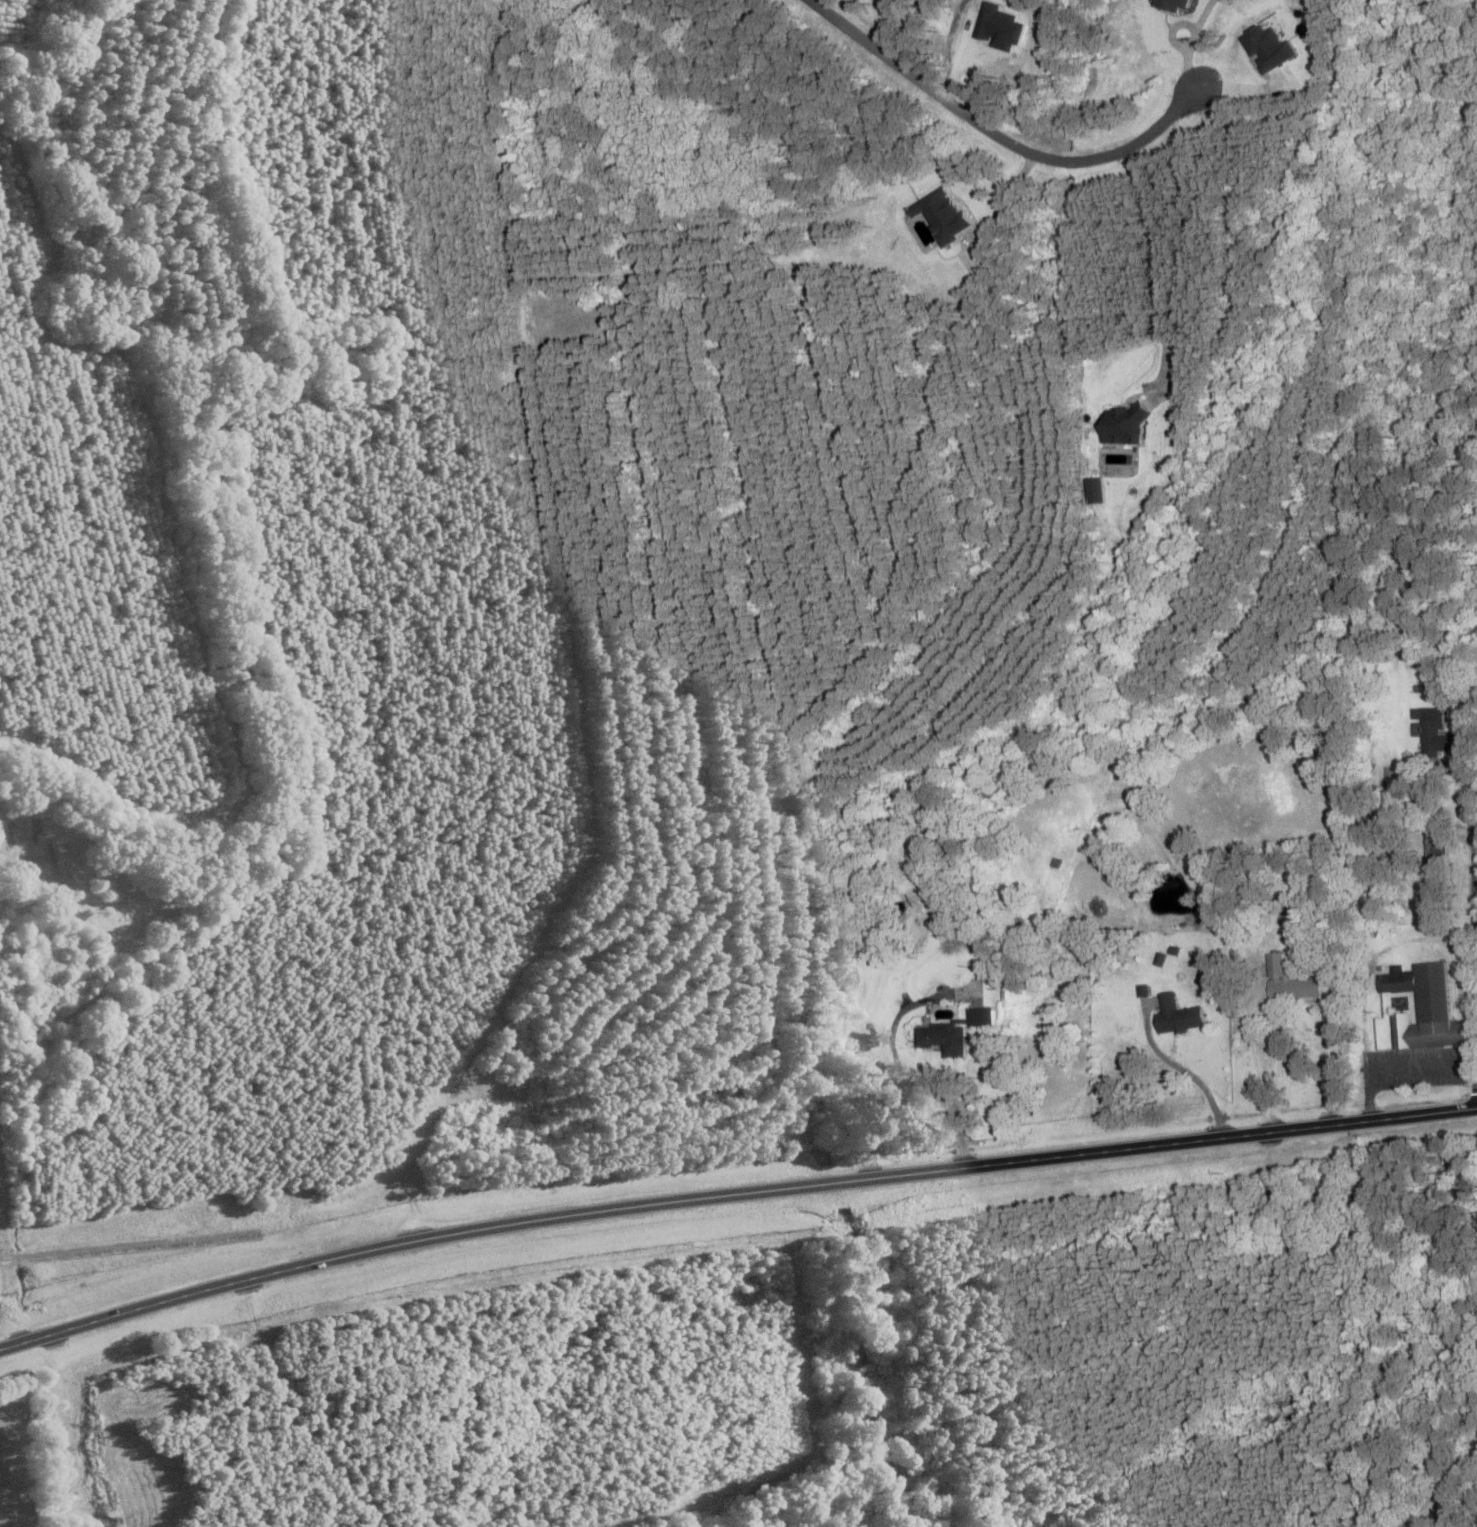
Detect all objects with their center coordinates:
road: (1000, 136)
building: (1127, 425)
building: (1098, 490)
building: (1429, 731)
building: (921, 845)
building: (1435, 847)
road: (1476, 892)
building: (1435, 901)
building: (1104, 970)
building: (1396, 980)
building: (1294, 987)
building: (1427, 1012)
building: (1176, 1016)
building: (947, 1028)
road: (1257, 1065)
road: (1176, 1066)
road: (1422, 1067)
road: (908, 1075)
road: (1370, 1096)
road: (1424, 1113)
road: (1225, 1134)
road: (534, 1221)
road: (3, 1224)
road: (127, 1246)

